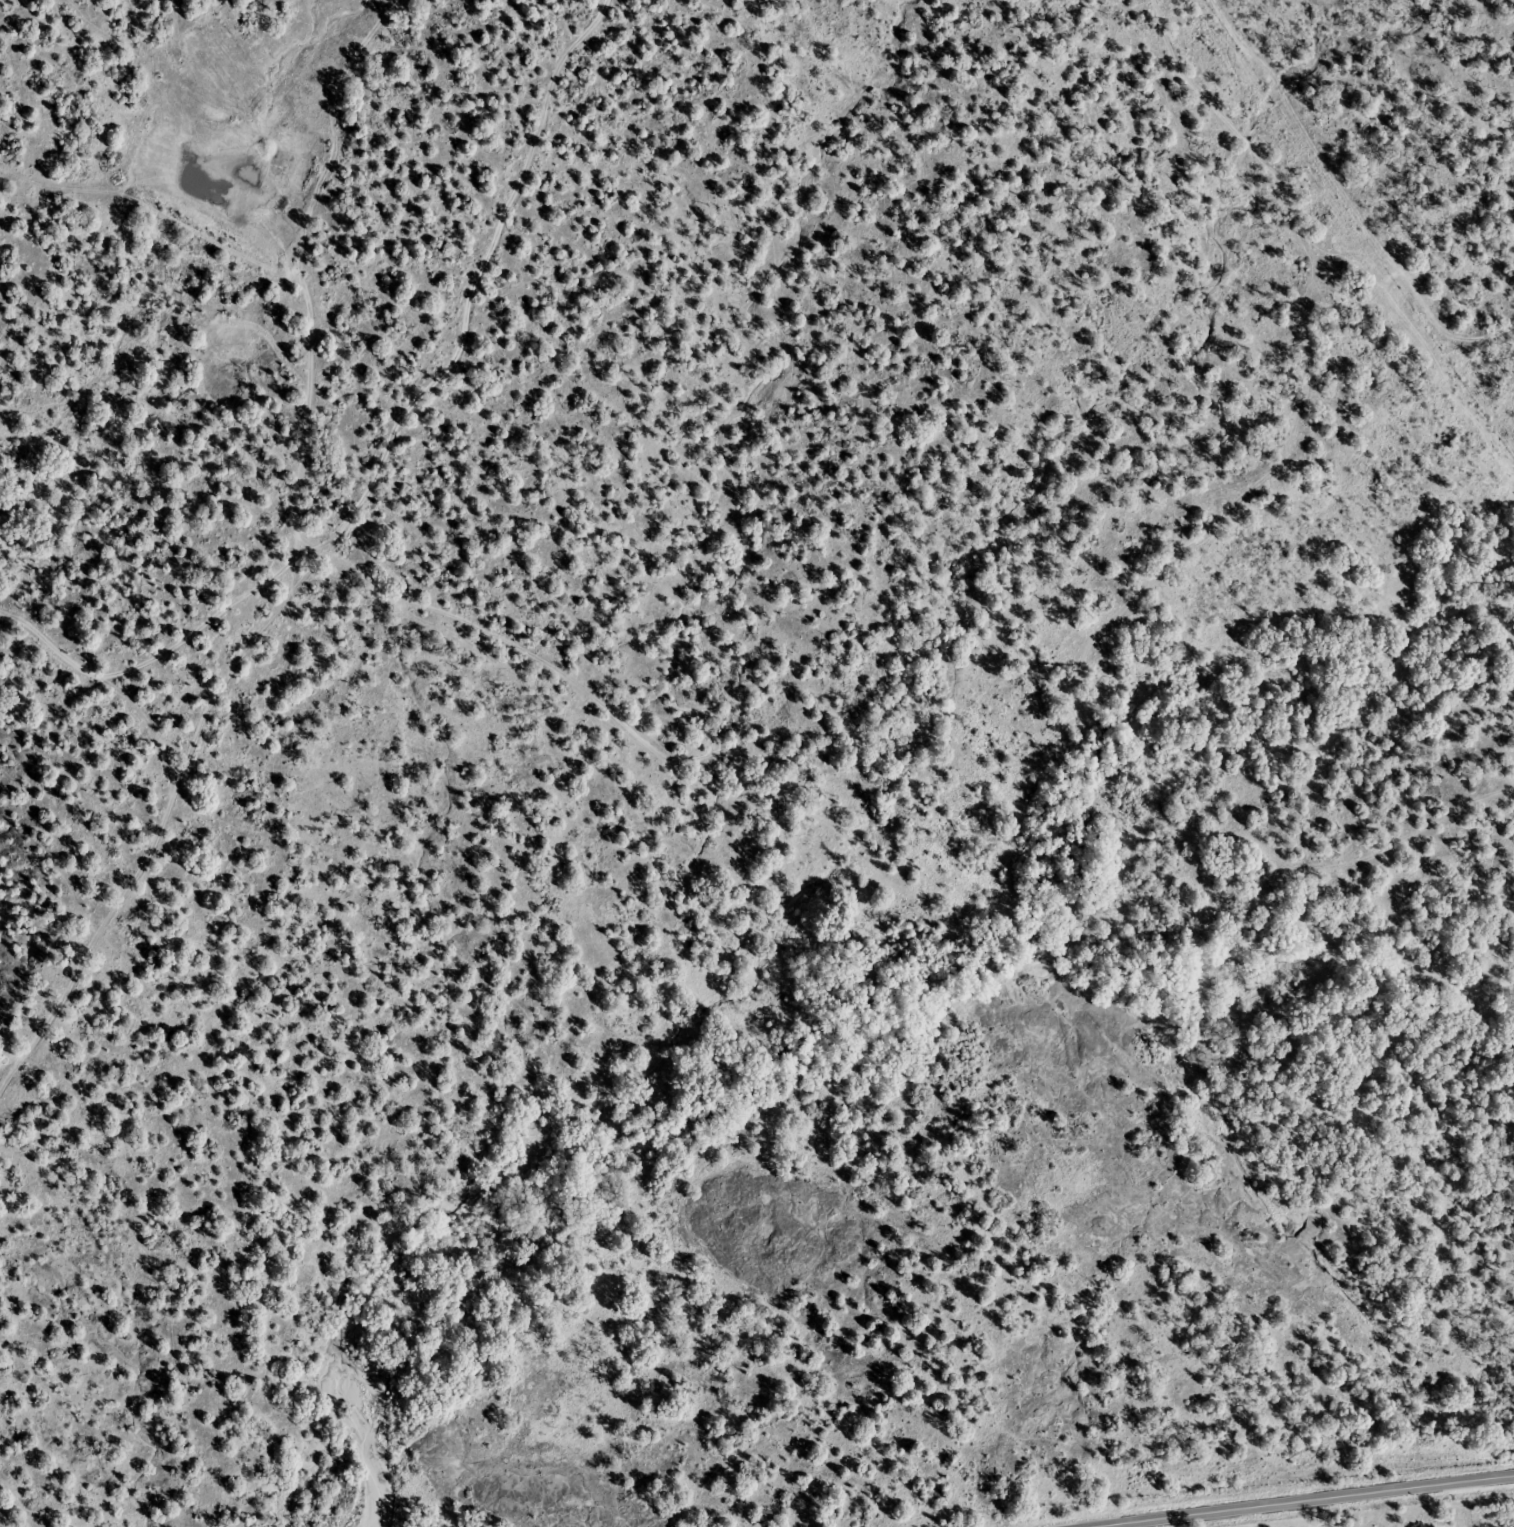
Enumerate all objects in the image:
road: (1296, 1500)

